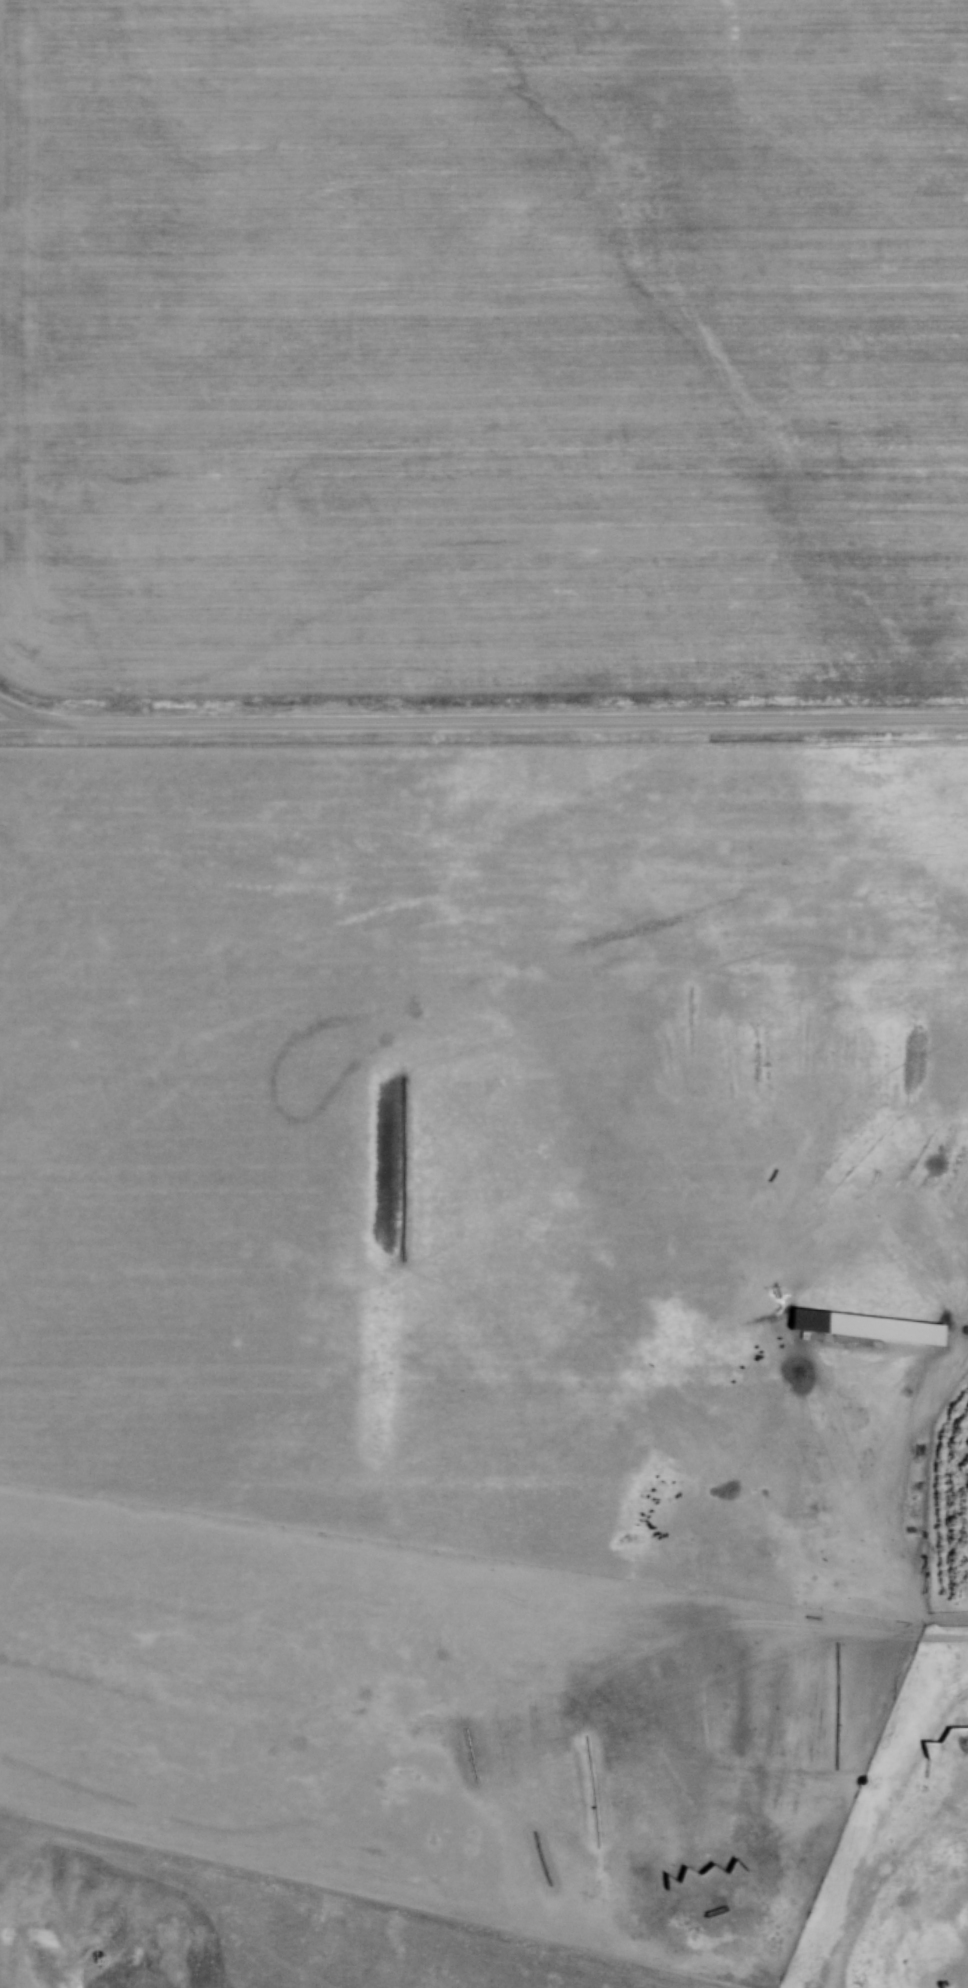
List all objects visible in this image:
road: (482, 730)
road: (18, 731)

